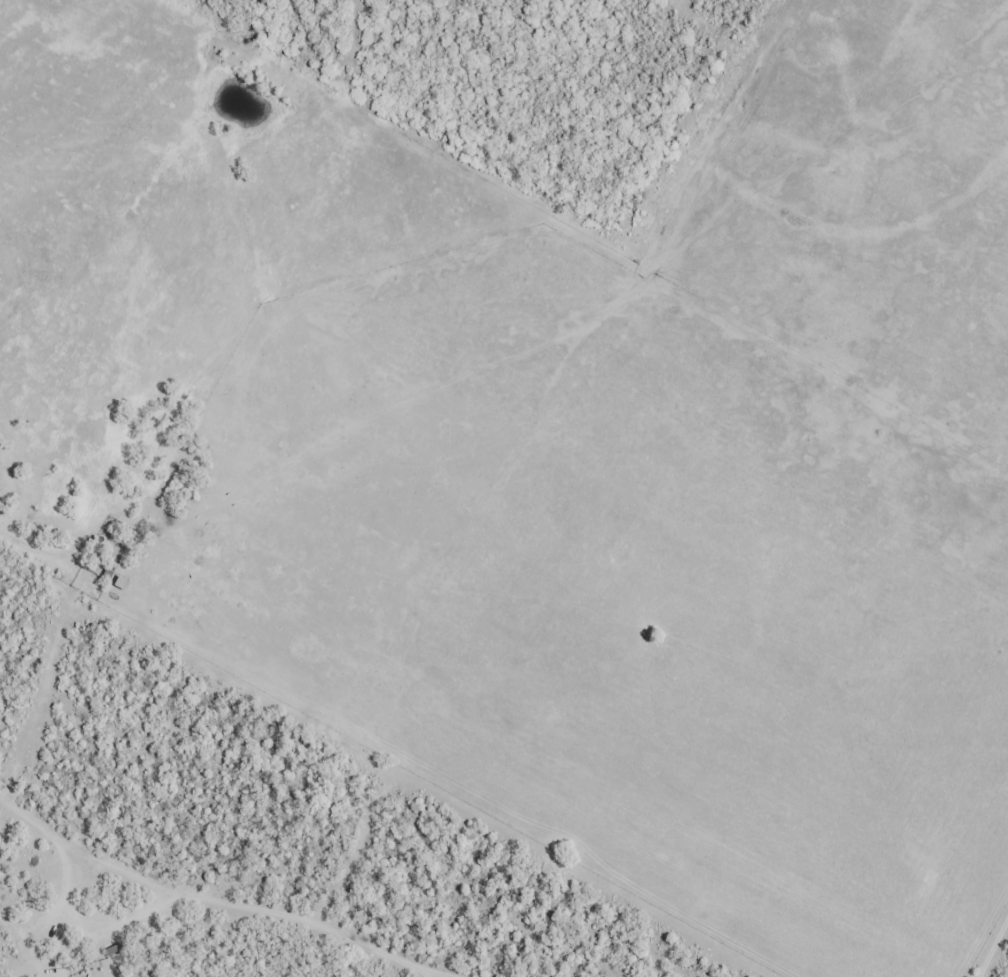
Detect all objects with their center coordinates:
road: (181, 889)
road: (378, 904)
road: (54, 914)
road: (85, 915)
road: (120, 923)
building: (111, 949)
road: (32, 957)

